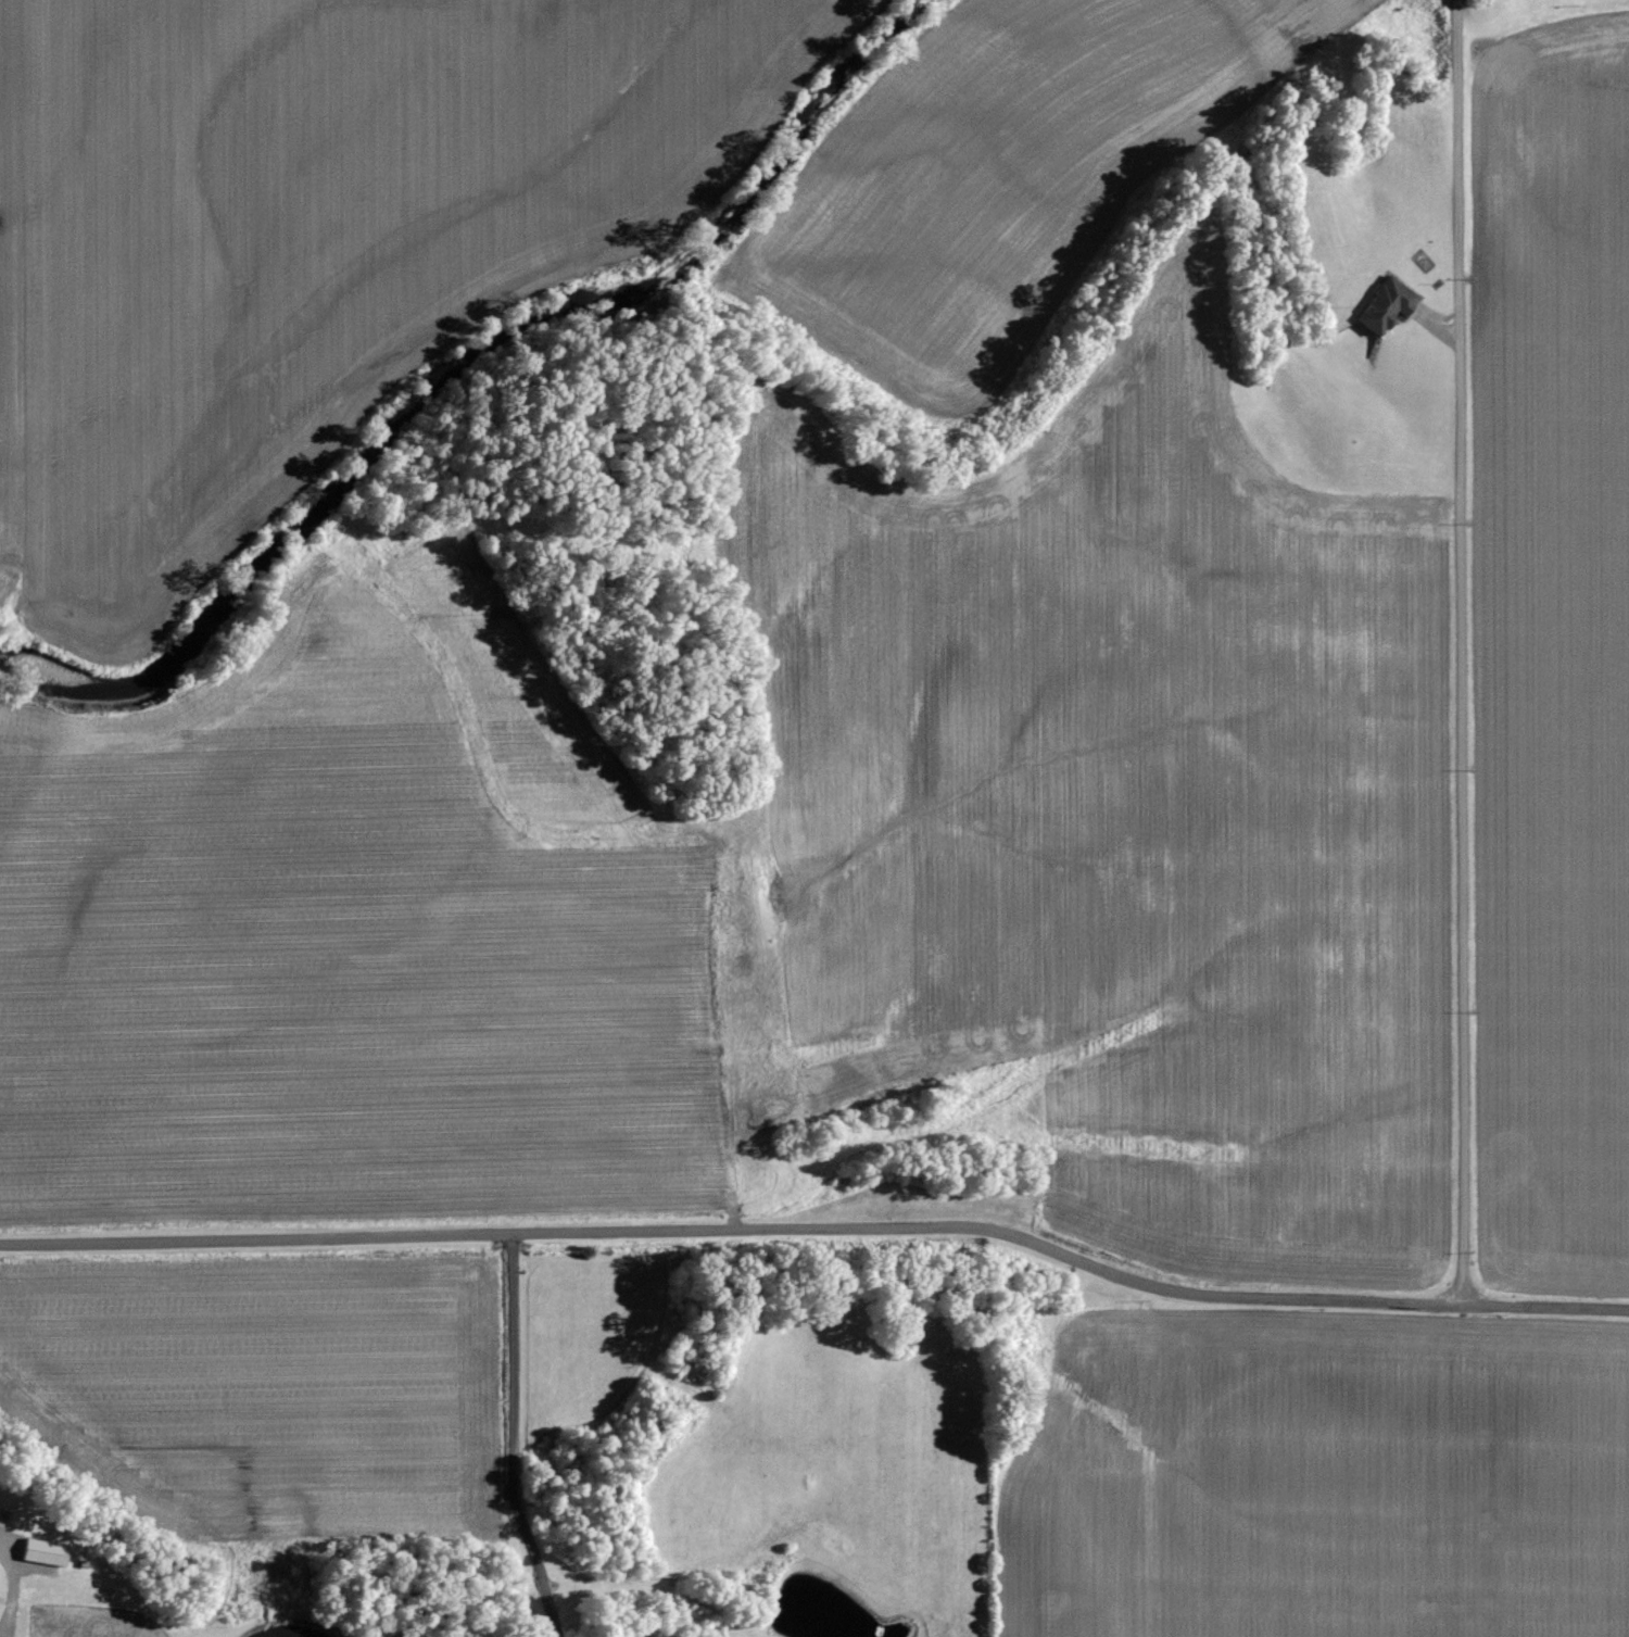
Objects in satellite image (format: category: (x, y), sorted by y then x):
building: (1384, 306)
road: (1462, 652)
crop: (355, 932)
road: (820, 1226)
road: (513, 1437)
crop: (1315, 1478)
building: (41, 1552)
road: (10, 1592)

